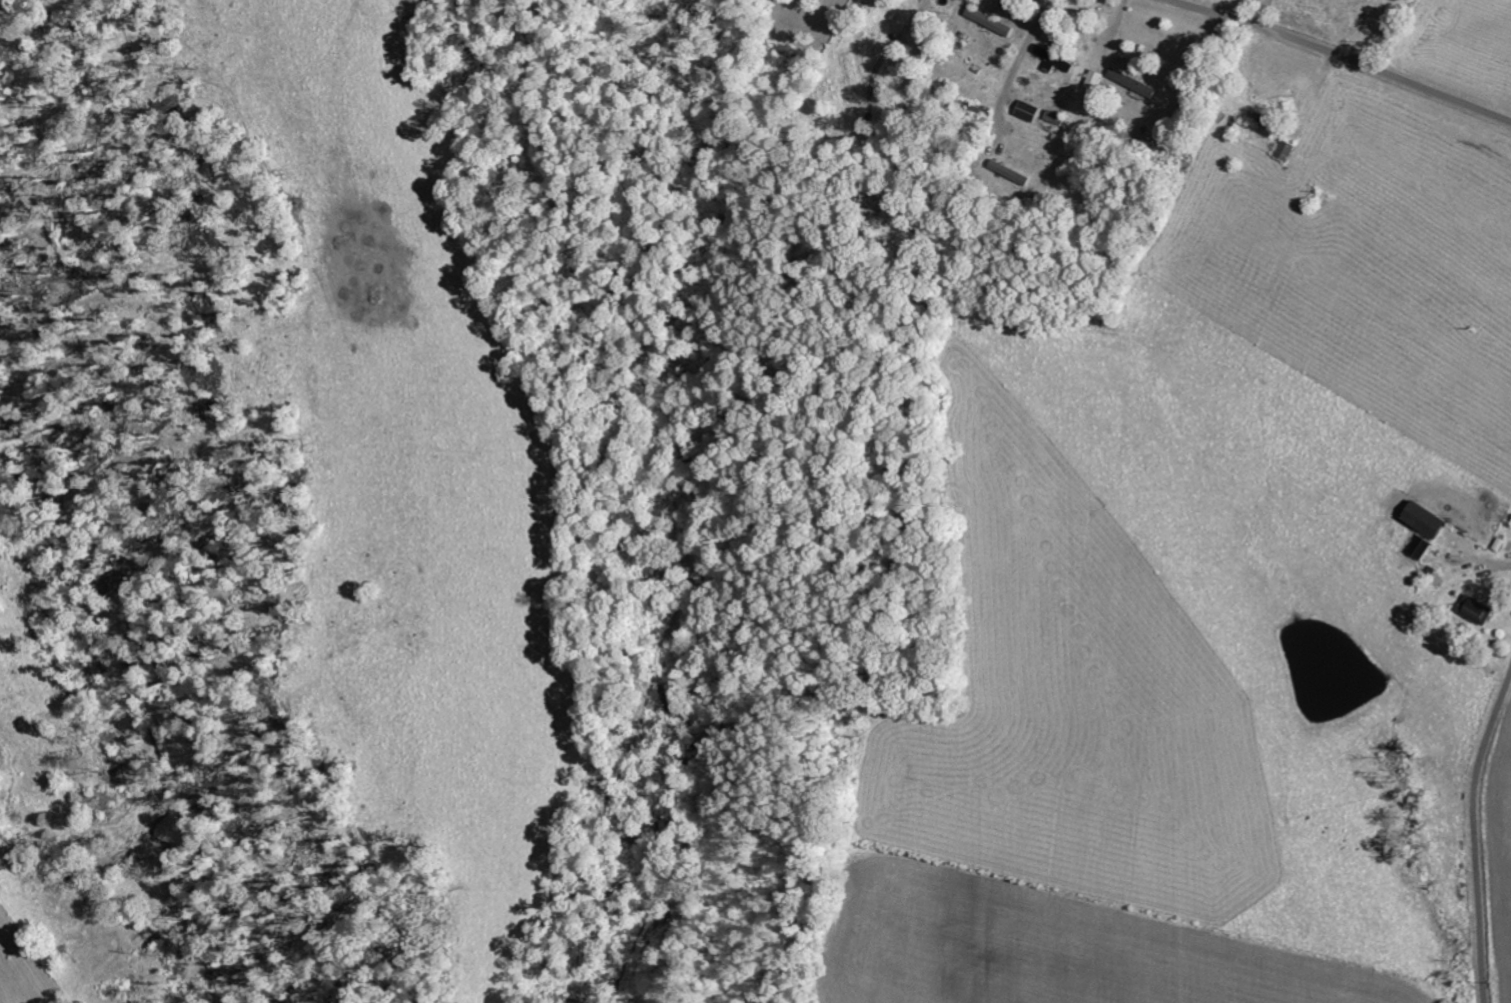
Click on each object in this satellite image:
road: (1322, 21)
building: (1052, 57)
road: (1340, 57)
building: (1132, 82)
road: (960, 98)
building: (1026, 109)
building: (1283, 149)
building: (1423, 518)
building: (1418, 546)
building: (1476, 609)
road: (1472, 834)

